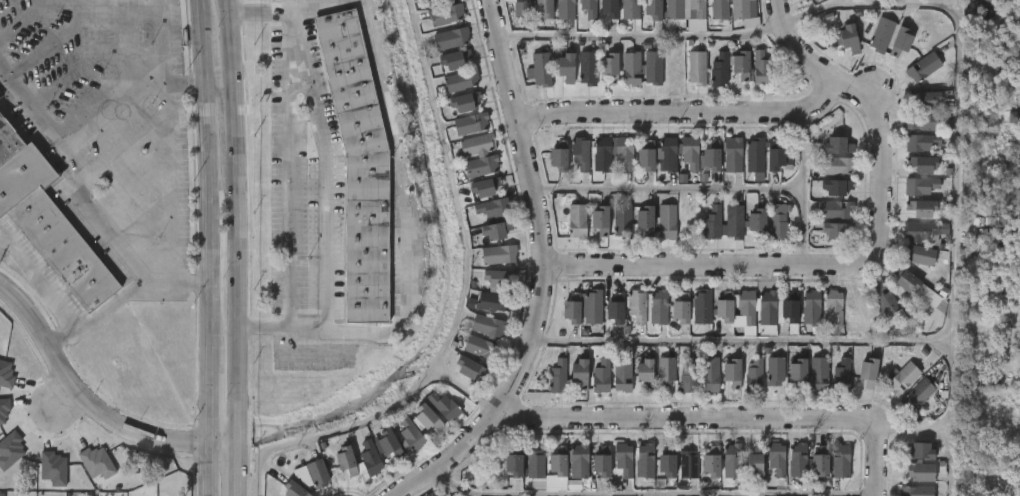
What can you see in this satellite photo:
building: (809, 0)
building: (812, 0)
road: (846, 2)
building: (433, 3)
road: (332, 6)
building: (541, 7)
building: (521, 8)
building: (589, 8)
building: (607, 8)
building: (651, 8)
building: (698, 8)
building: (742, 8)
building: (566, 9)
building: (672, 9)
building: (719, 9)
building: (632, 12)
building: (446, 15)
building: (882, 35)
road: (644, 37)
road: (59, 38)
building: (450, 38)
building: (848, 39)
road: (232, 41)
building: (903, 41)
road: (156, 42)
building: (452, 61)
building: (743, 65)
building: (924, 66)
building: (569, 67)
building: (588, 68)
building: (612, 68)
building: (633, 68)
building: (654, 68)
building: (698, 68)
building: (762, 68)
building: (540, 69)
building: (720, 70)
building: (460, 81)
road: (141, 88)
road: (957, 88)
building: (0, 96)
building: (928, 99)
building: (464, 103)
road: (687, 111)
road: (236, 117)
road: (875, 120)
building: (921, 121)
building: (472, 123)
building: (7, 140)
building: (921, 142)
building: (478, 145)
building: (840, 146)
building: (625, 153)
building: (691, 153)
building: (581, 154)
building: (668, 154)
building: (560, 155)
building: (603, 155)
building: (732, 155)
building: (753, 155)
building: (775, 156)
building: (647, 159)
building: (714, 159)
building: (926, 164)
road: (325, 165)
building: (358, 165)
building: (482, 167)
building: (838, 167)
building: (21, 175)
road: (803, 186)
building: (921, 186)
building: (839, 187)
building: (484, 189)
road: (673, 189)
road: (409, 200)
road: (78, 202)
building: (923, 208)
building: (490, 209)
building: (837, 210)
building: (602, 220)
building: (647, 220)
building: (780, 220)
building: (622, 221)
building: (667, 221)
building: (690, 221)
building: (577, 222)
building: (713, 222)
building: (735, 223)
building: (759, 223)
building: (840, 230)
building: (926, 230)
building: (497, 231)
road: (207, 247)
building: (63, 250)
building: (500, 255)
building: (920, 255)
road: (701, 262)
road: (550, 273)
building: (498, 279)
building: (918, 289)
road: (45, 295)
road: (240, 295)
building: (885, 299)
road: (464, 302)
building: (497, 303)
building: (835, 304)
building: (637, 306)
building: (748, 306)
building: (812, 306)
building: (594, 307)
building: (703, 307)
building: (860, 307)
building: (659, 308)
building: (684, 308)
building: (768, 308)
road: (105, 309)
building: (617, 309)
building: (573, 313)
building: (793, 313)
building: (727, 316)
building: (488, 327)
road: (790, 341)
building: (478, 347)
building: (464, 367)
building: (603, 370)
building: (666, 372)
building: (6, 373)
building: (734, 373)
building: (765, 373)
building: (801, 373)
building: (870, 373)
building: (581, 374)
building: (647, 374)
building: (820, 374)
building: (623, 375)
building: (711, 375)
building: (841, 375)
building: (558, 376)
building: (689, 376)
building: (904, 378)
building: (923, 390)
road: (61, 402)
building: (444, 405)
road: (94, 406)
building: (3, 412)
building: (429, 416)
road: (721, 420)
road: (942, 431)
building: (411, 432)
building: (390, 442)
building: (922, 449)
building: (10, 450)
building: (370, 456)
building: (625, 458)
building: (778, 458)
building: (561, 459)
building: (799, 459)
building: (580, 460)
building: (604, 460)
building: (670, 460)
building: (734, 460)
building: (757, 460)
building: (823, 460)
building: (841, 460)
building: (346, 461)
building: (96, 463)
building: (516, 463)
building: (536, 463)
building: (645, 463)
building: (712, 463)
building: (690, 464)
road: (243, 468)
building: (53, 469)
building: (922, 471)
building: (318, 472)
building: (303, 477)
building: (295, 488)
building: (919, 491)
building: (430, 494)
road: (651, 494)

